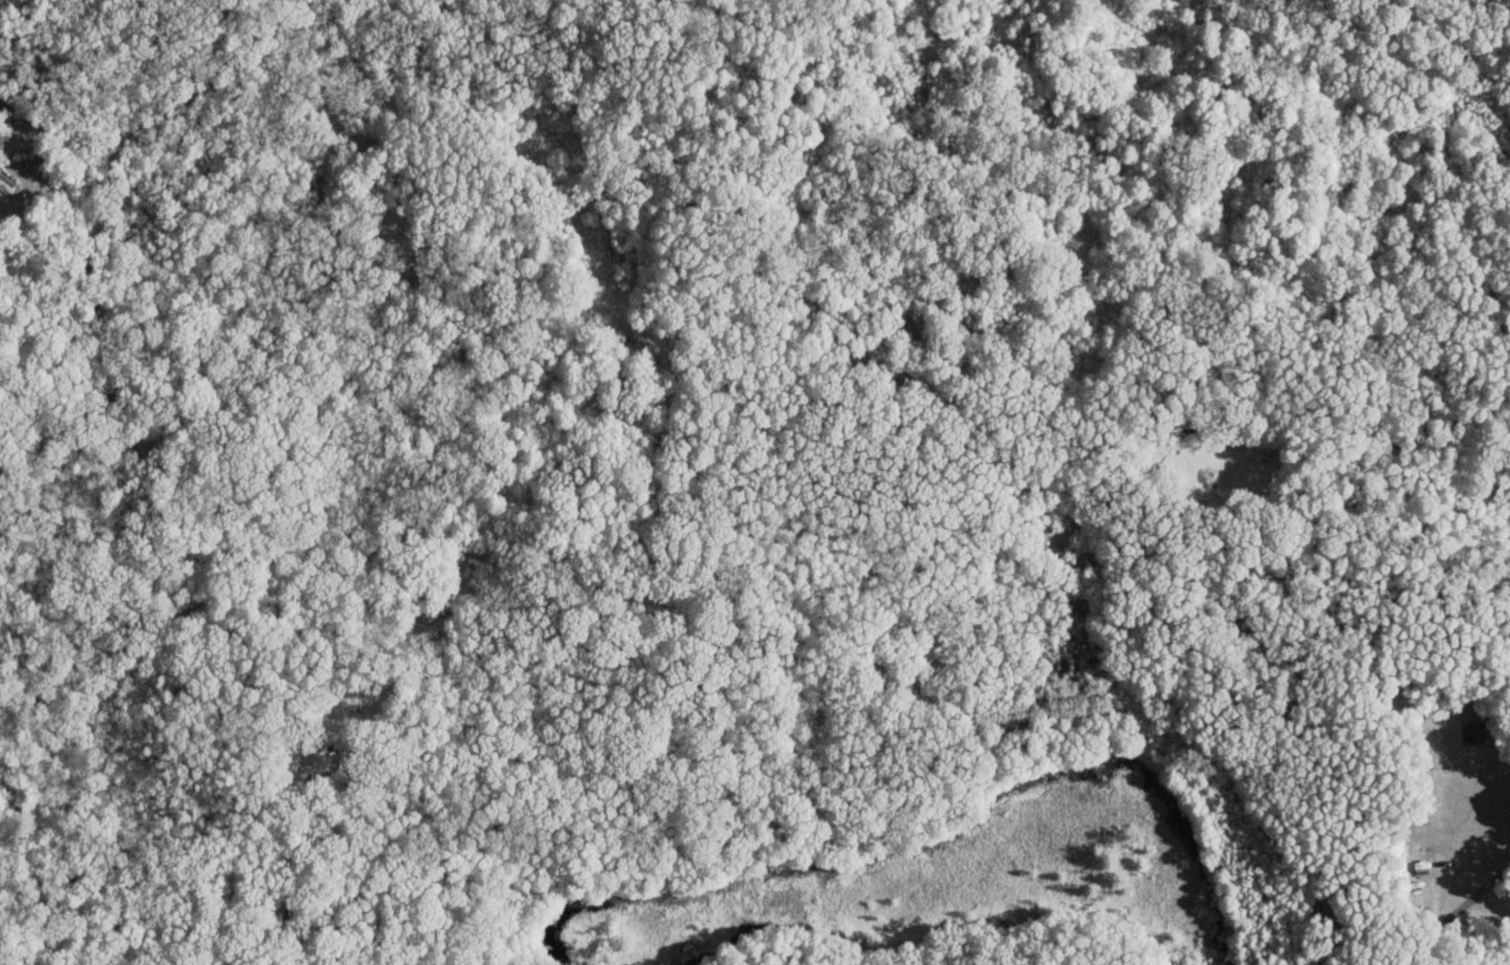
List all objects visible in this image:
park: (1095, 485)

